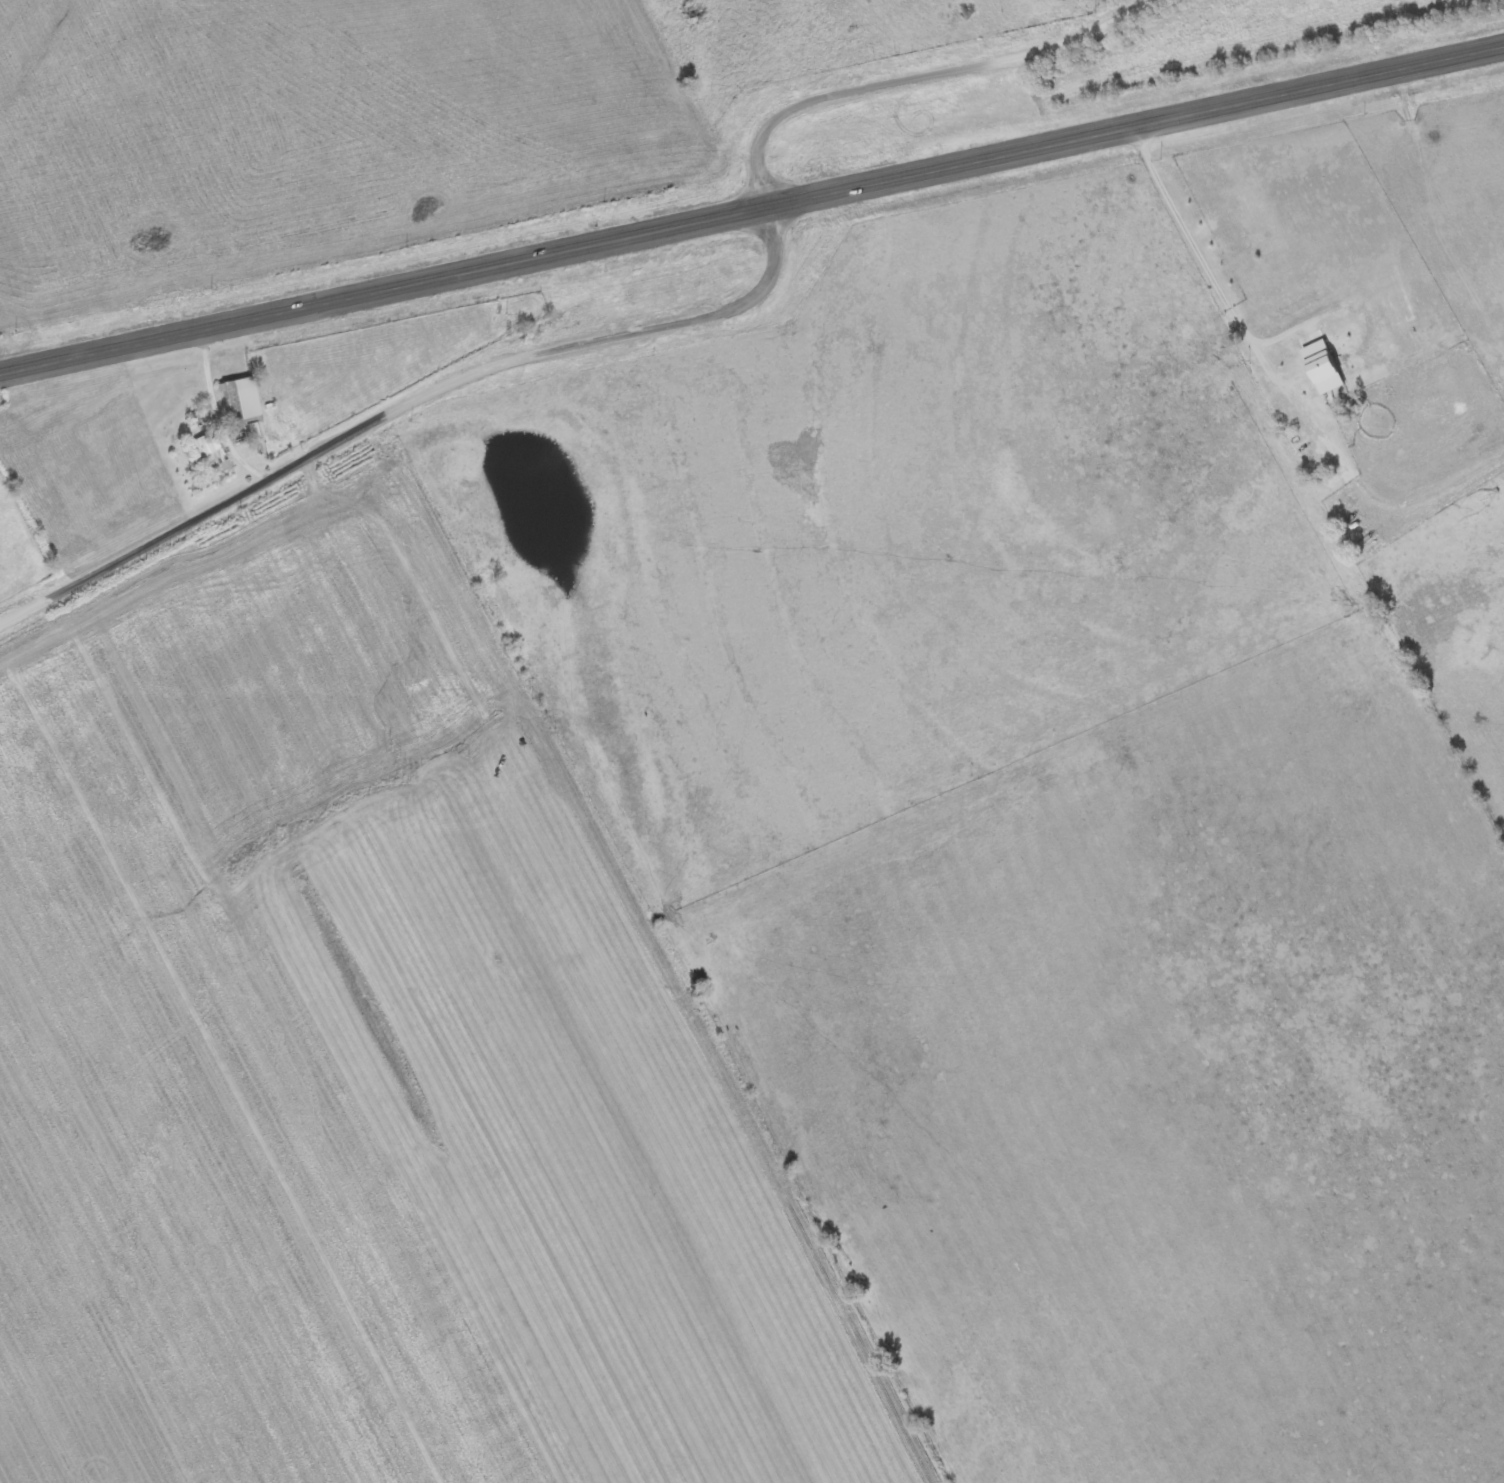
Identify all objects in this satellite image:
road: (752, 213)
road: (647, 332)
building: (1321, 369)
building: (236, 400)
road: (232, 408)
building: (250, 431)
building: (208, 453)

